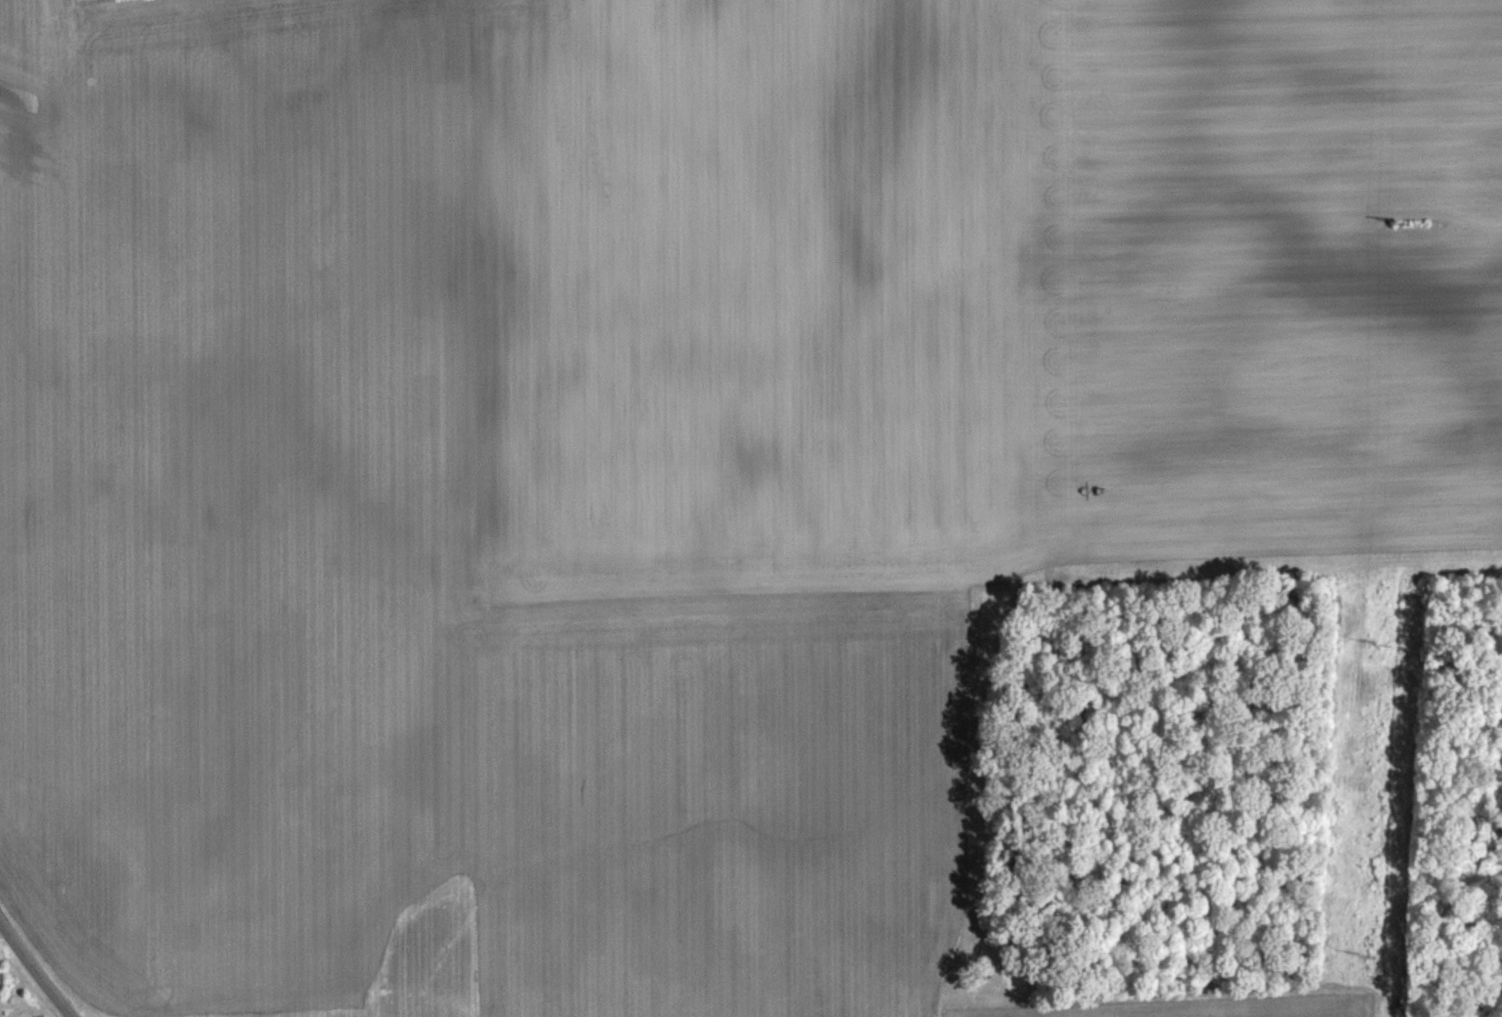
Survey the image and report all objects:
road: (43, 960)

